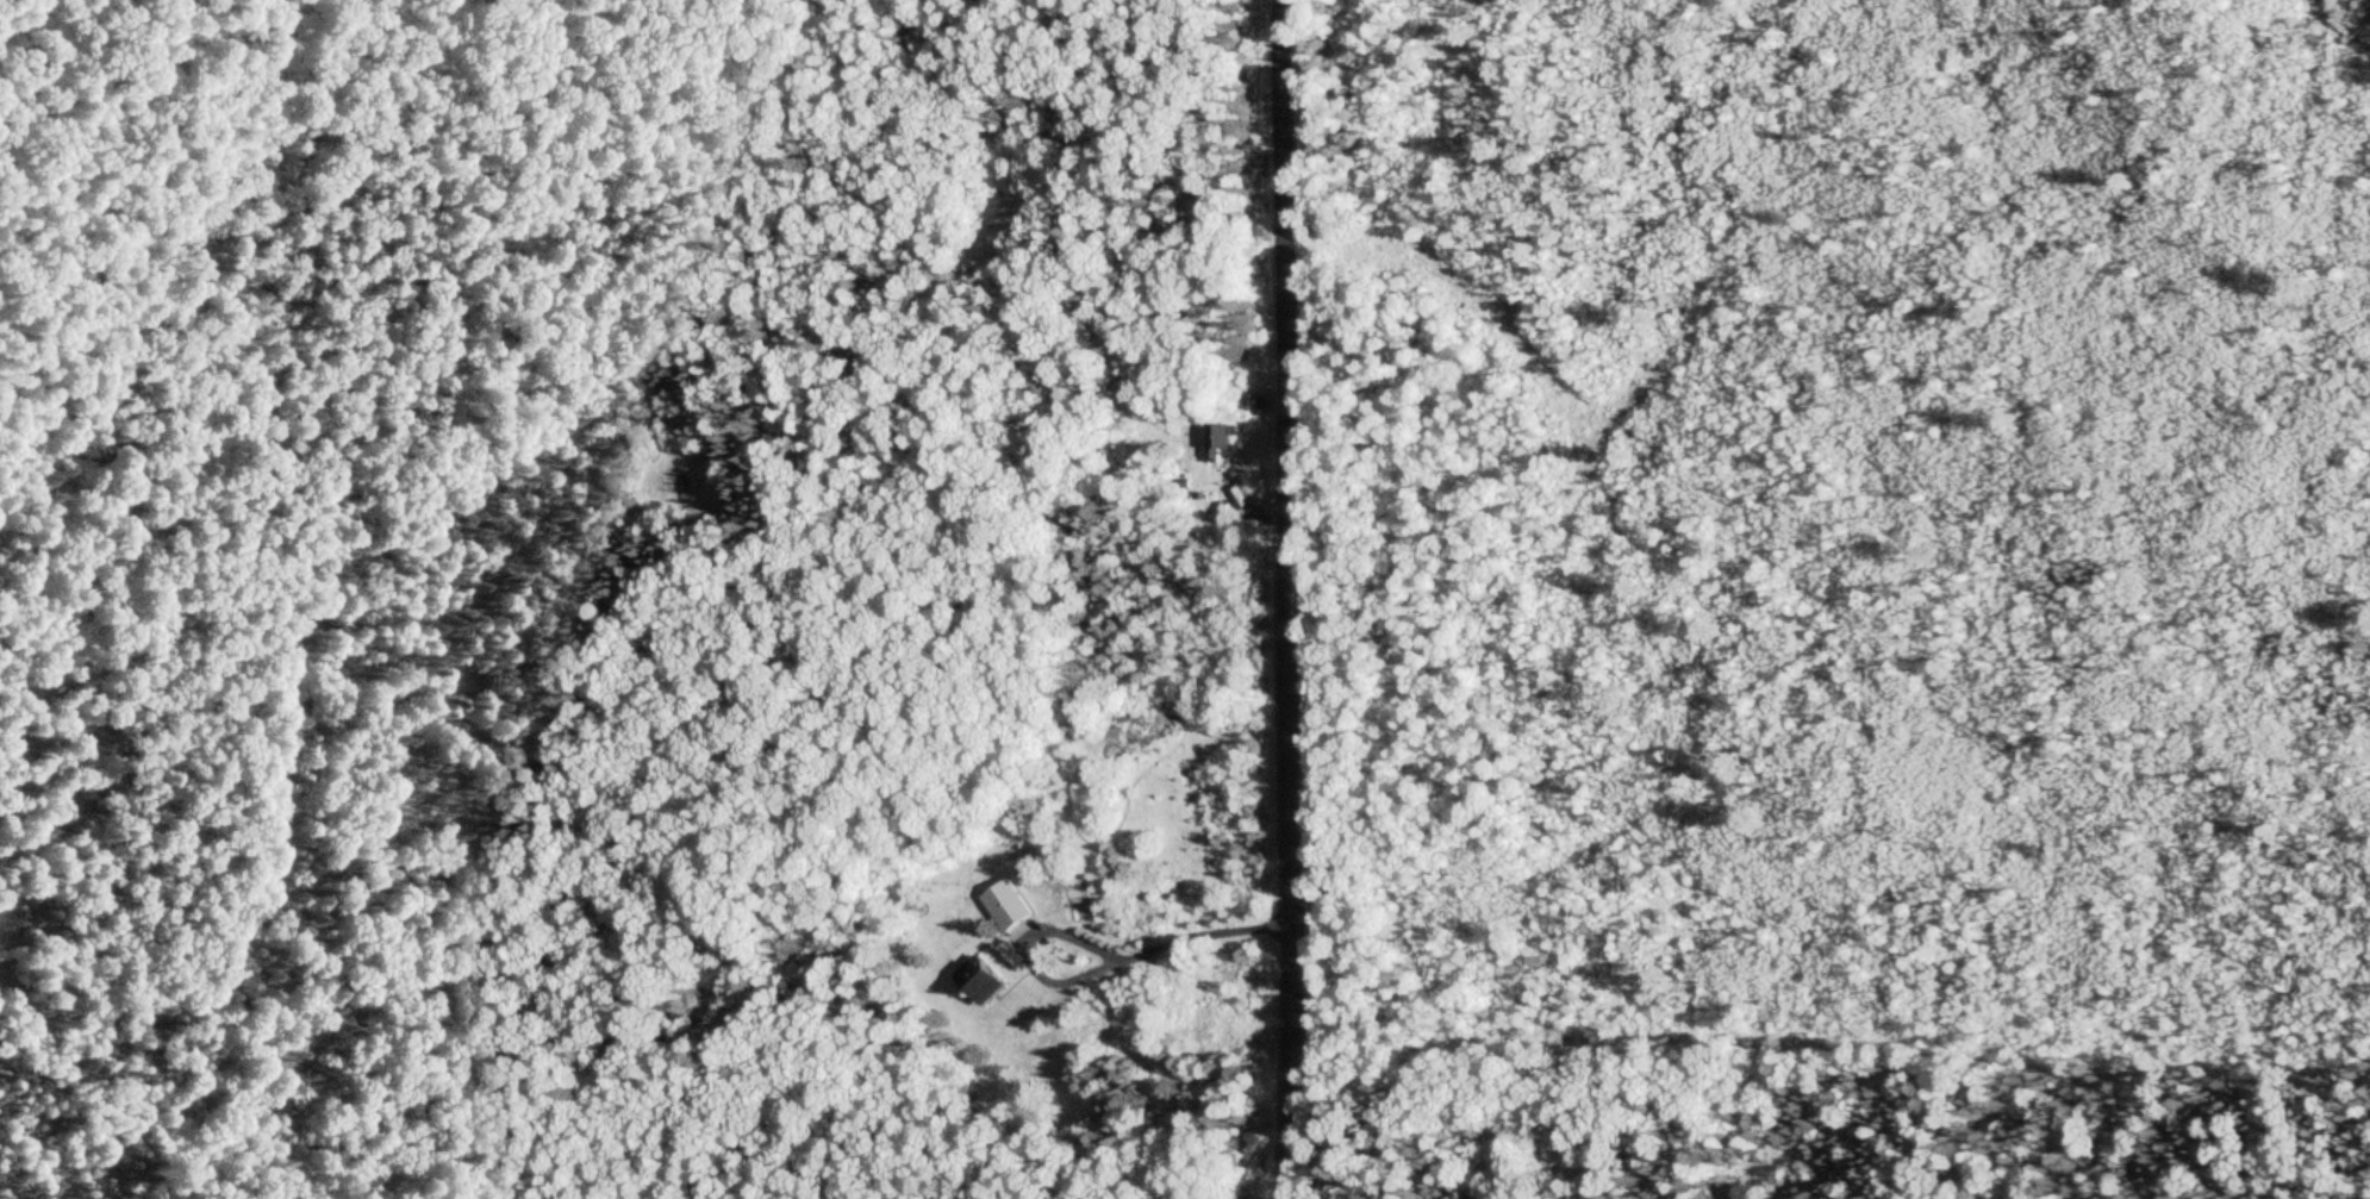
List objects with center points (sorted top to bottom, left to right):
building: (1224, 442)
road: (1305, 599)
building: (1005, 910)
building: (979, 975)

